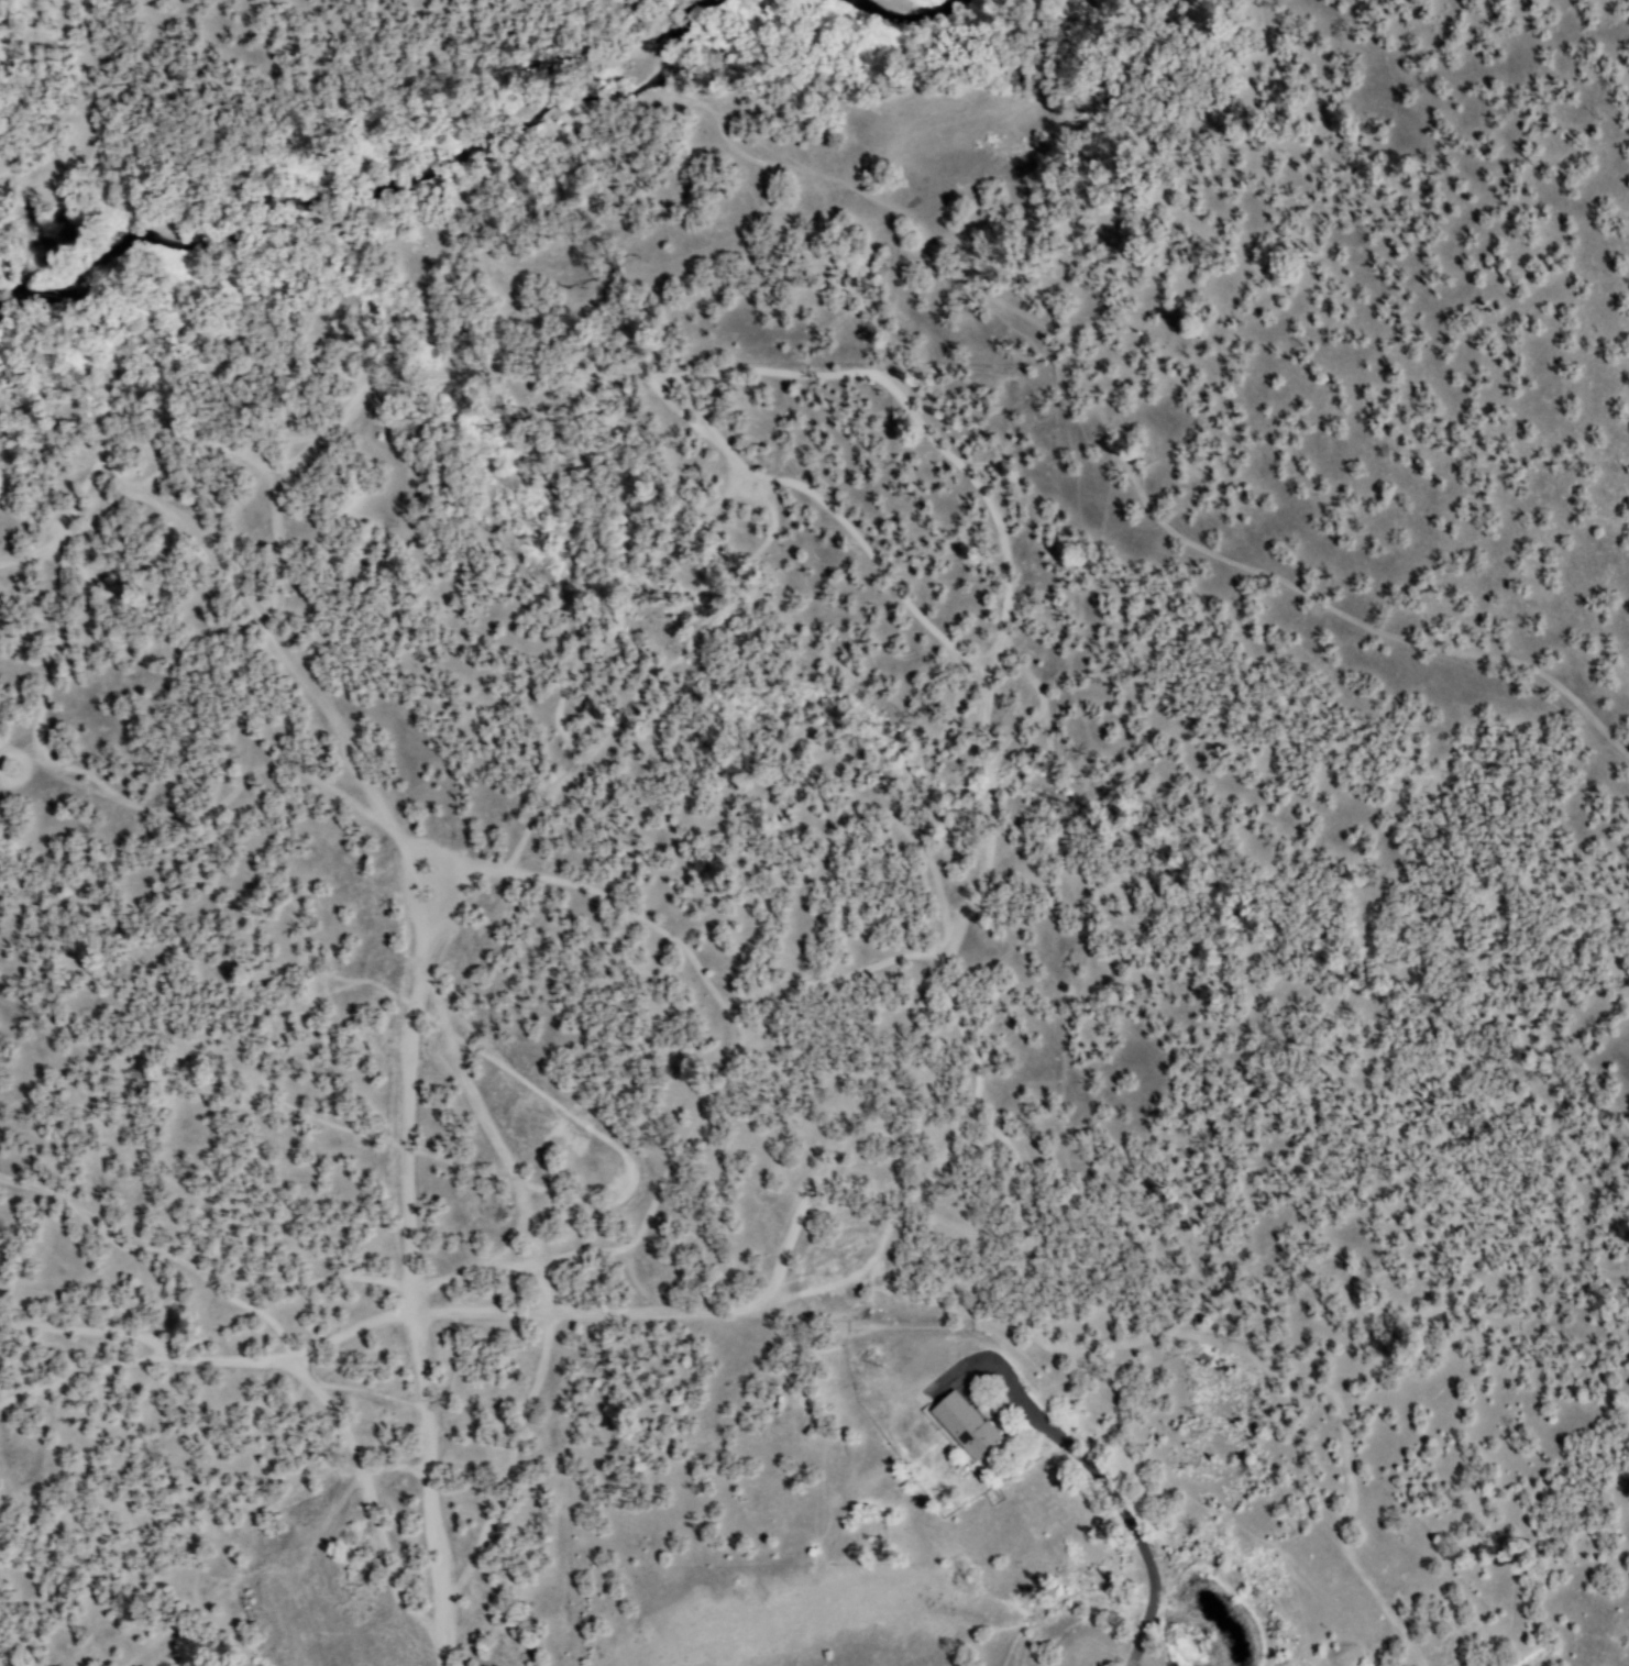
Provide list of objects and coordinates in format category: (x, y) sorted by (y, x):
building: (964, 1426)
road: (1115, 1503)

